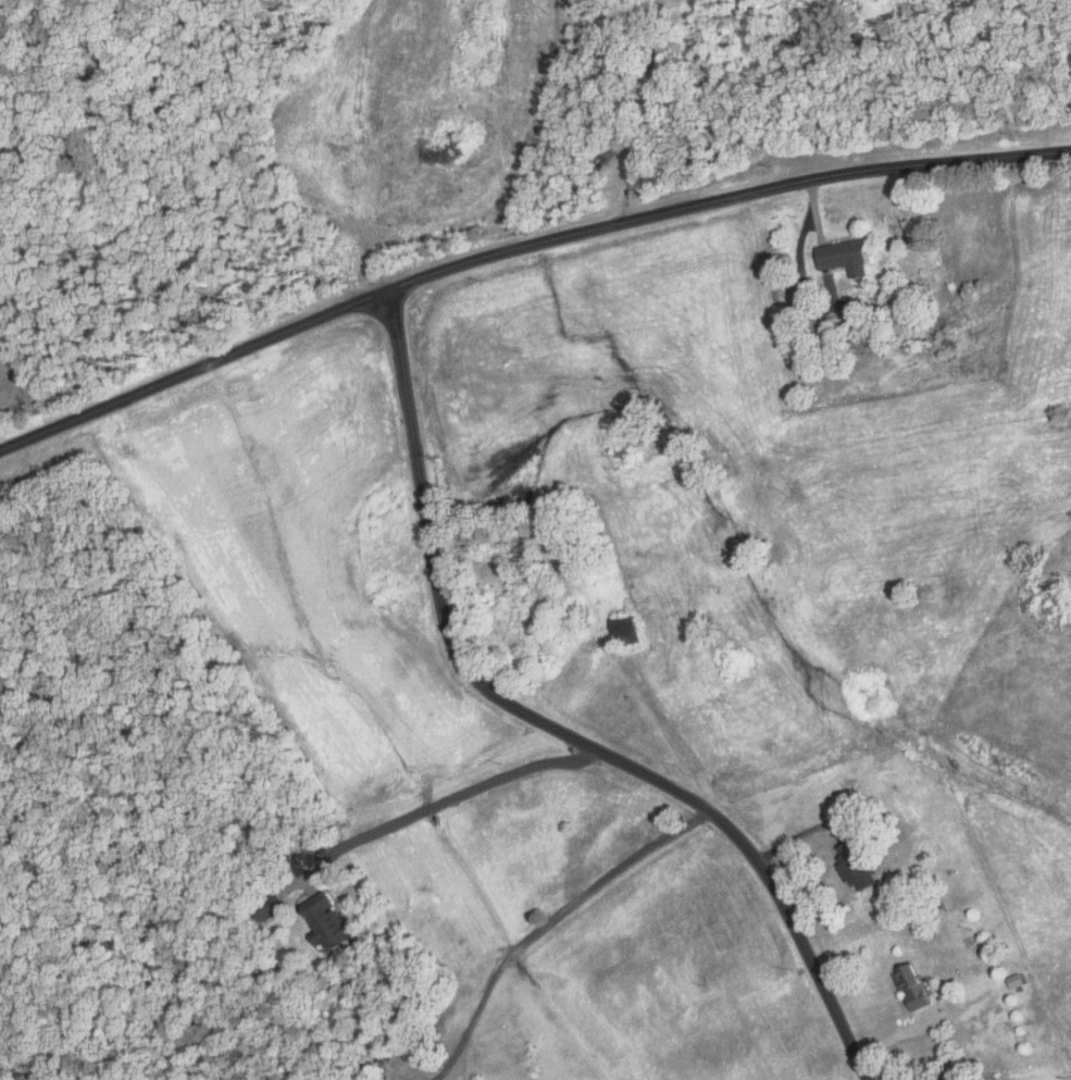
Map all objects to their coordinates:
road: (644, 110)
road: (815, 210)
road: (521, 247)
building: (845, 256)
building: (856, 310)
road: (553, 727)
road: (444, 802)
building: (852, 867)
road: (549, 920)
building: (322, 922)
building: (1013, 981)
building: (909, 988)

